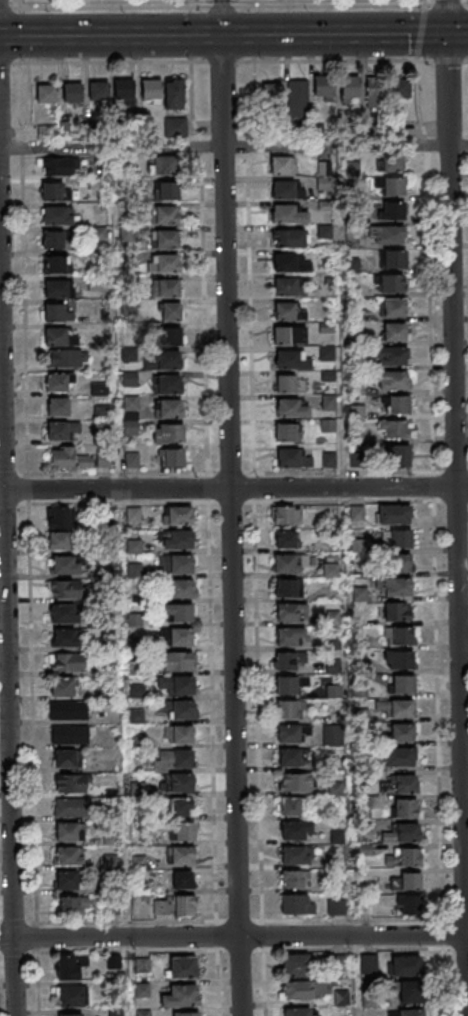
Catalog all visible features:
road: (18, 4)
road: (234, 7)
road: (220, 17)
road: (420, 32)
traffic signals: (446, 34)
road: (344, 35)
road: (110, 36)
road: (448, 58)
road: (467, 58)
road: (335, 60)
road: (110, 61)
road: (213, 61)
road: (230, 61)
road: (7, 62)
building: (400, 87)
building: (123, 88)
building: (323, 88)
building: (349, 89)
building: (98, 90)
building: (151, 90)
building: (71, 92)
building: (375, 92)
building: (46, 93)
building: (174, 93)
building: (272, 94)
building: (298, 98)
building: (176, 127)
road: (234, 148)
building: (392, 162)
building: (163, 165)
building: (283, 165)
building: (57, 166)
building: (324, 174)
building: (393, 187)
building: (288, 189)
building: (54, 191)
building: (168, 191)
building: (390, 211)
building: (288, 213)
building: (167, 215)
building: (57, 216)
building: (128, 234)
building: (389, 235)
building: (289, 237)
building: (164, 239)
building: (52, 240)
building: (393, 260)
building: (168, 263)
building: (291, 263)
building: (55, 264)
road: (430, 264)
road: (24, 267)
building: (94, 284)
building: (390, 284)
building: (289, 286)
building: (167, 287)
building: (55, 288)
building: (393, 307)
building: (171, 311)
building: (288, 311)
building: (56, 312)
building: (396, 332)
building: (290, 334)
building: (59, 336)
building: (171, 336)
building: (326, 352)
road: (251, 353)
building: (390, 356)
building: (66, 358)
building: (292, 359)
building: (162, 360)
building: (130, 379)
building: (390, 381)
building: (58, 382)
building: (167, 384)
building: (286, 384)
building: (99, 388)
building: (57, 406)
building: (396, 406)
building: (168, 408)
building: (292, 408)
building: (130, 415)
building: (100, 419)
building: (61, 429)
building: (394, 430)
building: (168, 432)
building: (286, 432)
building: (397, 457)
building: (171, 458)
building: (292, 458)
building: (69, 459)
building: (103, 460)
building: (133, 460)
road: (141, 473)
road: (28, 488)
road: (233, 488)
road: (455, 508)
building: (393, 514)
building: (133, 515)
building: (178, 515)
building: (285, 515)
building: (58, 519)
road: (229, 526)
building: (397, 537)
building: (175, 538)
building: (286, 539)
building: (59, 542)
building: (175, 563)
building: (285, 563)
building: (400, 563)
building: (64, 566)
building: (331, 570)
building: (397, 586)
building: (288, 587)
building: (66, 588)
building: (180, 589)
building: (290, 611)
building: (398, 611)
building: (63, 613)
building: (178, 613)
building: (288, 635)
building: (398, 635)
building: (65, 638)
building: (180, 638)
building: (288, 660)
building: (398, 660)
building: (68, 662)
building: (178, 662)
road: (7, 666)
building: (333, 667)
building: (290, 683)
building: (401, 683)
building: (176, 684)
building: (62, 686)
building: (333, 691)
building: (289, 707)
building: (396, 707)
building: (176, 708)
building: (70, 709)
road: (32, 712)
building: (136, 717)
building: (402, 732)
building: (70, 733)
building: (292, 733)
building: (332, 733)
building: (178, 735)
building: (293, 756)
building: (177, 757)
building: (396, 757)
building: (66, 758)
building: (295, 782)
building: (70, 783)
building: (404, 783)
building: (179, 784)
building: (292, 805)
building: (71, 806)
building: (180, 807)
building: (405, 807)
building: (295, 829)
building: (68, 831)
building: (184, 831)
building: (402, 833)
building: (296, 854)
building: (180, 855)
building: (67, 856)
building: (403, 857)
building: (293, 878)
building: (66, 880)
building: (182, 880)
building: (406, 881)
building: (296, 904)
building: (72, 905)
building: (408, 905)
building: (183, 906)
building: (336, 907)
building: (366, 907)
road: (18, 922)
road: (233, 937)
road: (33, 952)
road: (441, 954)
building: (368, 963)
building: (142, 965)
building: (295, 965)
building: (405, 965)
building: (69, 966)
building: (183, 966)
building: (298, 990)
building: (410, 991)
building: (70, 995)
building: (180, 995)
building: (341, 997)
building: (368, 1002)
building: (299, 1012)
building: (406, 1012)
building: (186, 1014)
building: (72, 1015)

